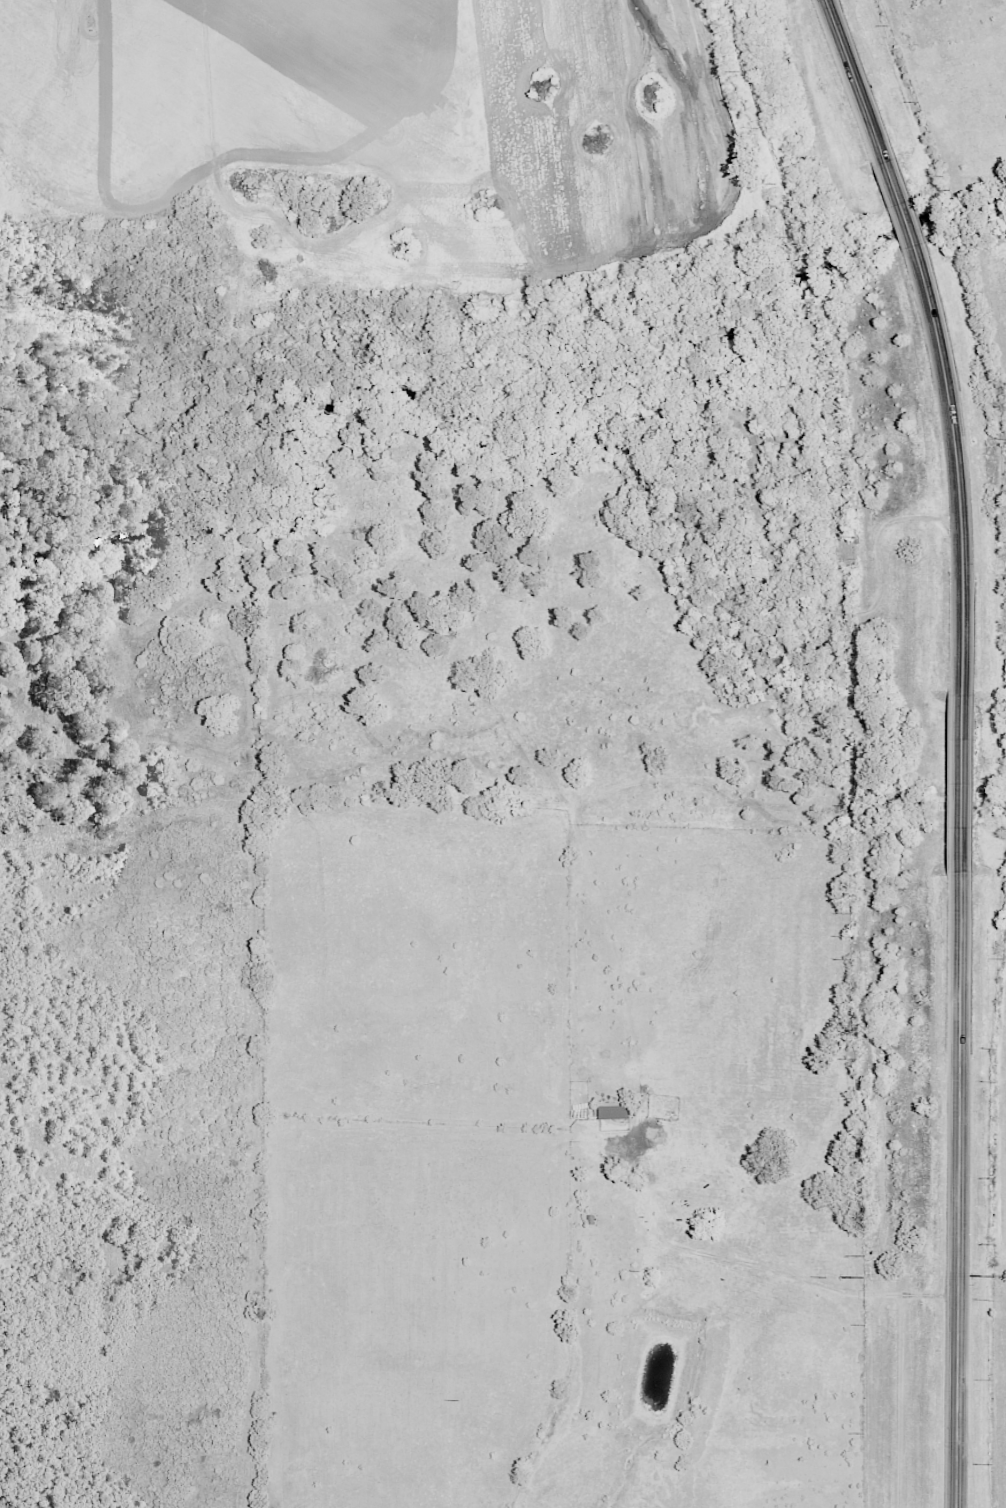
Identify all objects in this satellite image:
road: (930, 336)
road: (958, 781)
building: (615, 1111)
road: (954, 1189)

